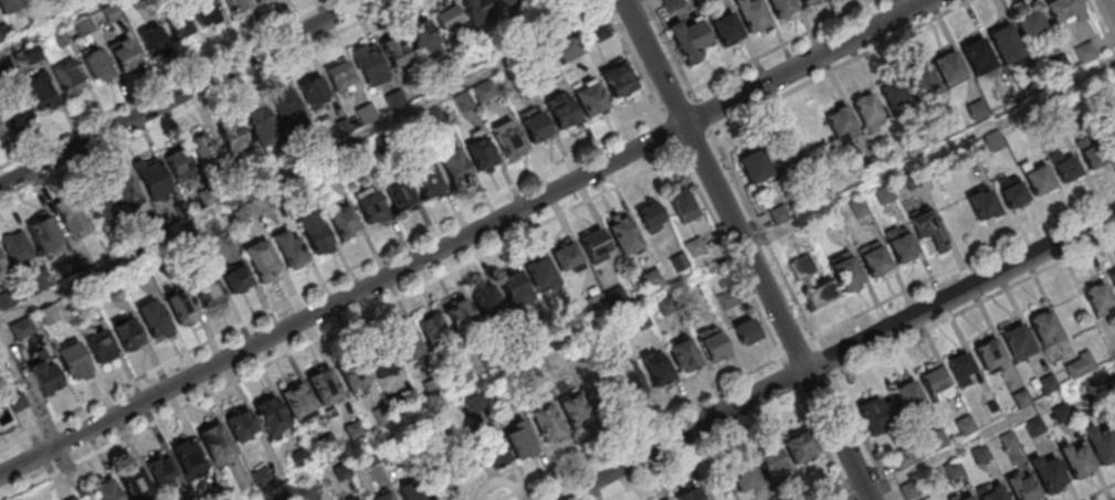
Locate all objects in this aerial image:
building: (257, 1)
building: (807, 2)
building: (503, 3)
building: (8, 4)
building: (233, 4)
building: (673, 4)
road: (1111, 7)
building: (781, 8)
building: (1064, 9)
building: (475, 11)
building: (203, 12)
building: (109, 14)
building: (750, 14)
building: (178, 24)
building: (1030, 24)
road: (50, 25)
building: (83, 26)
road: (1101, 26)
building: (726, 30)
building: (3, 31)
building: (434, 31)
building: (152, 39)
building: (1004, 43)
road: (782, 46)
building: (395, 52)
building: (1084, 52)
building: (125, 55)
building: (977, 55)
building: (1060, 62)
building: (97, 64)
building: (369, 64)
road: (843, 66)
building: (949, 68)
building: (338, 75)
building: (66, 76)
building: (922, 81)
building: (619, 82)
building: (315, 92)
building: (41, 93)
road: (182, 93)
building: (895, 95)
building: (589, 98)
road: (199, 102)
road: (675, 102)
building: (11, 106)
building: (287, 108)
building: (562, 111)
road: (702, 113)
building: (867, 113)
building: (840, 123)
building: (262, 126)
building: (1, 129)
building: (1112, 130)
road: (669, 134)
building: (233, 137)
building: (508, 139)
road: (696, 142)
building: (785, 149)
building: (204, 150)
building: (1093, 150)
building: (480, 152)
road: (930, 156)
road: (315, 161)
building: (1064, 163)
building: (754, 166)
building: (179, 167)
building: (454, 167)
building: (1037, 178)
building: (427, 181)
building: (155, 183)
building: (1012, 191)
building: (125, 192)
building: (399, 194)
building: (982, 204)
building: (369, 206)
building: (683, 206)
building: (99, 209)
building: (650, 215)
building: (72, 216)
building: (343, 219)
building: (928, 228)
building: (43, 234)
building: (315, 234)
road: (465, 236)
building: (625, 238)
road: (767, 242)
building: (901, 244)
building: (596, 246)
building: (17, 248)
building: (695, 248)
building: (292, 251)
road: (746, 251)
building: (874, 258)
building: (261, 259)
road: (964, 259)
road: (734, 262)
building: (680, 264)
building: (801, 266)
building: (2, 270)
building: (845, 272)
building: (541, 277)
building: (236, 279)
building: (652, 279)
building: (1113, 280)
building: (211, 289)
building: (516, 291)
building: (819, 294)
building: (617, 298)
building: (727, 301)
building: (1100, 301)
building: (488, 306)
building: (666, 307)
road: (975, 307)
building: (599, 308)
building: (182, 310)
building: (460, 317)
building: (154, 320)
road: (341, 327)
building: (746, 330)
building: (1045, 330)
building: (613, 333)
building: (434, 334)
building: (127, 336)
building: (534, 340)
building: (712, 343)
building: (1018, 343)
building: (406, 345)
building: (98, 348)
road: (799, 350)
building: (683, 355)
road: (834, 357)
building: (991, 358)
building: (380, 361)
building: (491, 361)
building: (73, 362)
road: (827, 363)
building: (656, 366)
building: (1081, 369)
building: (961, 370)
building: (351, 374)
building: (463, 374)
building: (45, 375)
building: (530, 377)
road: (793, 380)
building: (630, 381)
building: (936, 386)
building: (1049, 386)
building: (1112, 386)
building: (434, 387)
building: (324, 389)
road: (819, 390)
road: (802, 396)
building: (909, 401)
building: (1023, 401)
building: (407, 402)
building: (297, 404)
building: (474, 406)
building: (572, 411)
building: (993, 411)
building: (1063, 414)
road: (40, 415)
building: (382, 416)
building: (271, 418)
building: (879, 418)
building: (1113, 419)
building: (546, 423)
building: (967, 427)
building: (242, 428)
road: (644, 428)
building: (1037, 428)
building: (355, 432)
building: (425, 433)
road: (863, 437)
building: (518, 440)
building: (1009, 442)
building: (214, 444)
building: (327, 445)
building: (1102, 446)
building: (492, 448)
building: (800, 448)
road: (706, 450)
road: (829, 450)
road: (950, 455)
building: (981, 455)
building: (189, 459)
building: (299, 460)
building: (368, 460)
building: (904, 460)
building: (1077, 464)
building: (772, 467)
building: (955, 471)
building: (343, 474)
building: (162, 475)
building: (744, 475)
building: (1050, 476)
building: (262, 478)
building: (444, 479)
building: (135, 486)
building: (1023, 489)
building: (406, 491)
building: (992, 491)
building: (104, 492)
building: (306, 492)
building: (912, 492)
road: (1102, 492)
building: (831, 494)
building: (690, 496)
building: (386, 497)
building: (964, 497)
building: (72, 498)
building: (278, 499)
building: (666, 499)
building: (807, 499)

